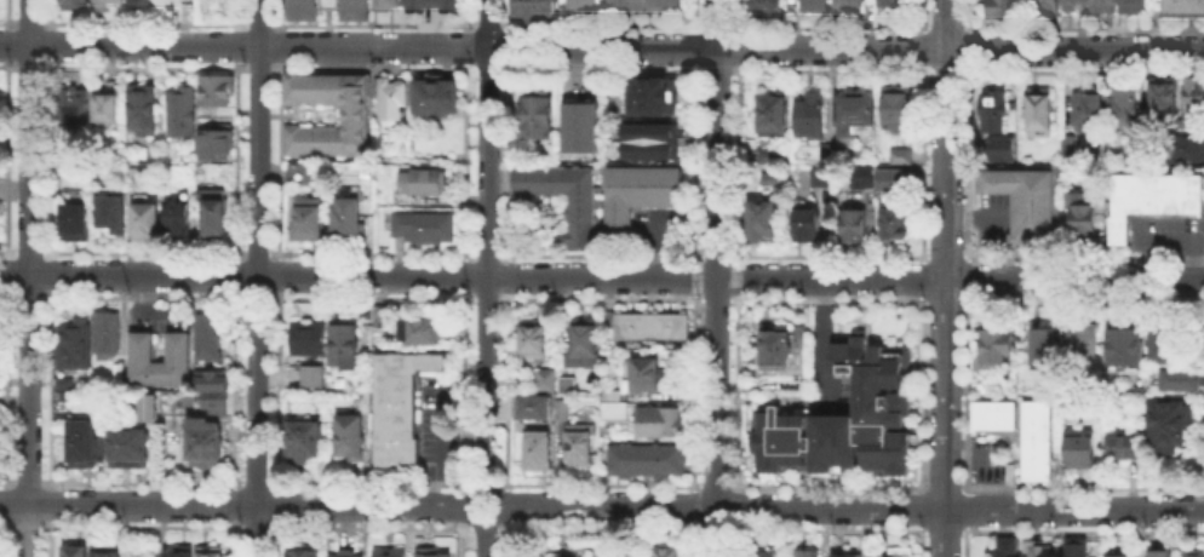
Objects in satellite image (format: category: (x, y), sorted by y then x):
building: (1076, 1)
building: (1102, 1)
building: (145, 2)
building: (626, 2)
building: (898, 2)
building: (1131, 2)
building: (114, 4)
building: (389, 5)
building: (431, 5)
building: (665, 5)
building: (852, 5)
building: (78, 6)
building: (584, 6)
building: (818, 6)
building: (768, 7)
building: (1183, 7)
building: (1004, 8)
building: (1048, 8)
building: (534, 10)
building: (304, 11)
building: (355, 11)
road: (6, 13)
road: (50, 13)
road: (236, 13)
road: (275, 15)
road: (464, 15)
road: (693, 15)
road: (738, 15)
road: (922, 15)
road: (967, 15)
road: (510, 16)
road: (7, 21)
road: (28, 21)
road: (143, 21)
road: (257, 22)
road: (372, 23)
road: (486, 23)
road: (600, 24)
road: (713, 24)
road: (827, 24)
road: (944, 25)
road: (1082, 25)
road: (50, 42)
road: (601, 42)
road: (5, 44)
road: (236, 45)
road: (276, 45)
road: (464, 46)
road: (738, 46)
road: (693, 47)
road: (922, 47)
road: (967, 47)
road: (511, 48)
road: (7, 64)
road: (28, 64)
road: (143, 67)
road: (257, 67)
road: (371, 67)
road: (1083, 67)
road: (485, 68)
road: (600, 68)
road: (716, 69)
road: (827, 70)
road: (945, 70)
building: (218, 94)
building: (655, 98)
building: (437, 99)
building: (1164, 99)
building: (394, 102)
building: (1196, 102)
building: (76, 109)
building: (1123, 109)
building: (107, 111)
building: (899, 111)
building: (1090, 111)
building: (144, 113)
building: (996, 114)
building: (1039, 114)
building: (182, 115)
building: (773, 115)
building: (856, 115)
building: (356, 116)
building: (539, 117)
building: (810, 117)
building: (581, 127)
building: (647, 139)
building: (217, 145)
building: (1005, 149)
building: (1068, 149)
building: (1186, 151)
building: (836, 153)
road: (5, 157)
road: (50, 157)
building: (901, 157)
road: (235, 159)
building: (770, 159)
road: (277, 160)
road: (463, 160)
road: (693, 161)
road: (736, 162)
road: (919, 162)
road: (965, 162)
road: (511, 163)
building: (70, 172)
building: (300, 174)
building: (859, 174)
building: (890, 178)
building: (134, 179)
building: (824, 180)
building: (424, 183)
building: (772, 183)
building: (641, 195)
building: (1151, 196)
building: (1026, 205)
building: (111, 213)
building: (213, 213)
building: (583, 219)
parking lot: (996, 219)
building: (1083, 219)
building: (179, 220)
building: (309, 223)
building: (76, 224)
building: (148, 224)
building: (350, 224)
parking lot: (655, 224)
building: (763, 224)
building: (853, 224)
parking lot: (1163, 226)
building: (808, 228)
building: (895, 228)
building: (425, 229)
road: (486, 245)
road: (8, 252)
road: (28, 252)
road: (29, 252)
road: (145, 252)
road: (258, 253)
road: (373, 253)
road: (488, 253)
road: (600, 254)
road: (716, 255)
road: (827, 255)
road: (945, 255)
road: (1083, 255)
road: (601, 271)
road: (47, 272)
road: (5, 274)
road: (235, 274)
road: (277, 275)
road: (461, 275)
road: (736, 276)
road: (965, 276)
road: (257, 277)
road: (510, 277)
road: (694, 277)
road: (715, 277)
road: (918, 278)
road: (946, 278)
road: (29, 295)
road: (7, 297)
road: (143, 297)
road: (258, 298)
road: (373, 298)
road: (487, 298)
road: (601, 298)
road: (716, 299)
road: (827, 299)
road: (1082, 300)
road: (944, 302)
building: (385, 315)
building: (654, 327)
building: (423, 332)
building: (0, 335)
building: (108, 335)
building: (310, 340)
building: (534, 340)
building: (1087, 340)
building: (211, 341)
building: (75, 345)
building: (1166, 345)
building: (348, 346)
building: (586, 346)
building: (1126, 348)
building: (776, 349)
building: (997, 349)
building: (1044, 349)
building: (162, 362)
building: (647, 375)
building: (210, 378)
building: (544, 378)
building: (315, 379)
building: (121, 380)
building: (1183, 380)
building: (63, 381)
building: (564, 383)
road: (4, 389)
road: (47, 389)
road: (234, 389)
road: (277, 389)
road: (461, 390)
road: (510, 391)
road: (735, 391)
road: (919, 392)
road: (965, 392)
road: (694, 394)
building: (612, 395)
building: (212, 402)
building: (154, 403)
building: (401, 406)
building: (532, 406)
building: (561, 407)
building: (612, 408)
parking lot: (434, 419)
building: (658, 419)
building: (847, 419)
building: (1170, 425)
building: (354, 437)
building: (202, 441)
building: (306, 441)
building: (86, 446)
building: (583, 447)
building: (1083, 447)
building: (1125, 448)
building: (131, 450)
building: (541, 454)
building: (1036, 454)
building: (643, 458)
road: (6, 481)
road: (27, 481)
road: (141, 481)
road: (256, 482)
road: (369, 482)
road: (486, 484)
road: (601, 486)
road: (716, 487)
road: (830, 488)
road: (946, 488)
road: (1083, 488)
road: (475, 492)
road: (4, 504)
road: (47, 504)
road: (279, 504)
road: (233, 505)
road: (460, 505)
road: (508, 505)
road: (234, 506)
road: (734, 506)
road: (919, 507)
road: (692, 509)
road: (852, 509)
road: (965, 510)
road: (4, 521)
road: (6, 523)
road: (25, 523)
road: (141, 526)
road: (254, 527)
road: (368, 527)
road: (483, 527)
road: (598, 528)
road: (716, 529)
road: (27, 530)
road: (829, 532)
road: (1082, 533)
road: (945, 534)
road: (46, 538)
road: (277, 538)
road: (505, 538)
road: (233, 539)
road: (461, 539)
road: (733, 539)
road: (485, 540)
road: (690, 540)
road: (918, 540)
road: (965, 541)
building: (1007, 547)
building: (1039, 549)
building: (1076, 550)
building: (76, 552)
building: (110, 552)
building: (306, 553)
building: (392, 553)
building: (432, 553)
building: (669, 553)
building: (764, 553)
building: (901, 553)
building: (1160, 553)
building: (1194, 553)
building: (180, 555)
building: (212, 555)
building: (809, 555)
building: (842, 555)
building: (890, 555)
building: (1114, 555)
building: (350, 556)
building: (581, 556)

